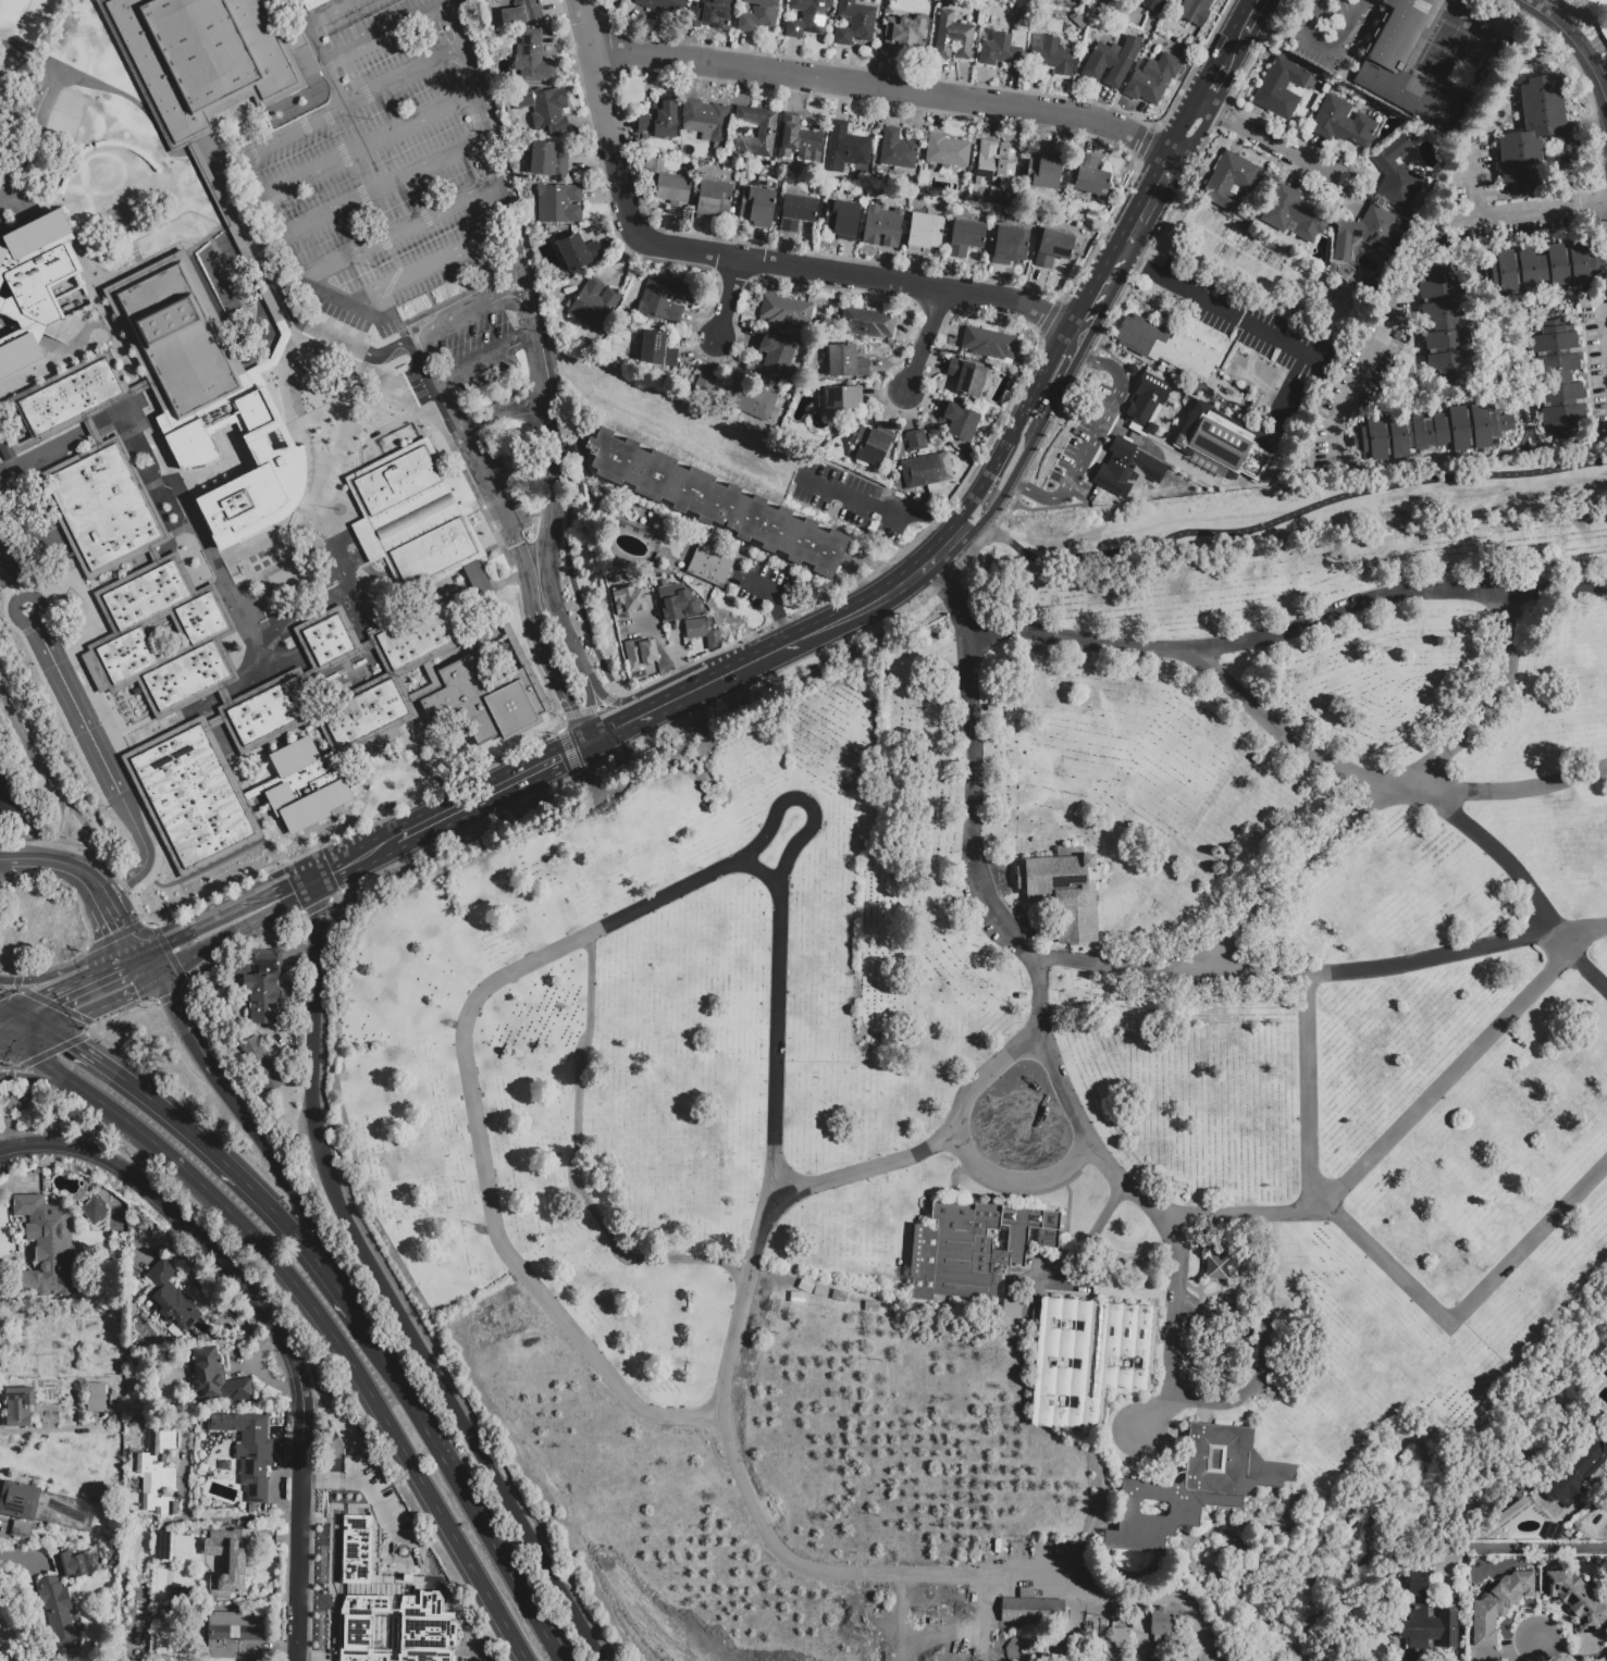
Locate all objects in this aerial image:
building: (308, 1)
building: (1152, 4)
building: (665, 7)
building: (1595, 7)
road: (299, 9)
building: (1196, 11)
building: (523, 12)
building: (713, 13)
building: (758, 14)
building: (806, 17)
road: (1247, 17)
road: (1548, 18)
building: (855, 21)
road: (306, 22)
road: (334, 33)
building: (1605, 34)
building: (904, 35)
building: (952, 37)
road: (370, 42)
road: (1327, 42)
building: (1003, 48)
building: (1052, 57)
building: (533, 58)
building: (201, 59)
building: (1110, 61)
building: (1384, 62)
road: (1219, 71)
road: (1594, 72)
road: (354, 76)
building: (1152, 78)
road: (98, 84)
building: (1281, 87)
road: (882, 89)
building: (549, 110)
building: (658, 121)
building: (705, 122)
building: (1342, 122)
road: (217, 126)
road: (244, 128)
building: (757, 132)
road: (1177, 133)
building: (1536, 136)
road: (32, 138)
building: (800, 139)
road: (1190, 140)
road: (1273, 145)
road: (270, 146)
road: (361, 146)
road: (487, 146)
building: (845, 148)
building: (898, 149)
building: (947, 150)
building: (547, 160)
building: (994, 164)
building: (1043, 171)
building: (1396, 174)
building: (1091, 176)
building: (1229, 181)
road: (199, 183)
building: (668, 186)
road: (376, 189)
road: (1482, 189)
building: (989, 195)
building: (713, 199)
building: (999, 199)
building: (559, 203)
building: (757, 206)
road: (1142, 210)
building: (796, 212)
building: (1293, 213)
building: (841, 218)
parking lot: (393, 220)
building: (882, 226)
building: (924, 232)
building: (1364, 233)
road: (395, 234)
building: (965, 237)
building: (1009, 245)
building: (1052, 248)
building: (578, 251)
building: (240, 252)
road: (744, 259)
road: (1108, 263)
building: (1543, 266)
road: (1416, 268)
road: (410, 273)
building: (33, 286)
road: (1109, 288)
road: (728, 298)
building: (664, 299)
road: (1083, 301)
road: (486, 303)
building: (593, 305)
building: (787, 312)
road: (1247, 320)
building: (1581, 321)
building: (1444, 323)
building: (868, 325)
building: (750, 334)
road: (1085, 334)
building: (178, 340)
road: (930, 342)
building: (1166, 343)
building: (991, 346)
building: (656, 348)
road: (362, 352)
road: (481, 354)
building: (775, 354)
building: (846, 362)
road: (1048, 365)
building: (1162, 367)
building: (1169, 371)
building: (1176, 375)
building: (966, 376)
building: (1559, 380)
building: (703, 386)
building: (139, 388)
building: (1385, 389)
building: (750, 399)
building: (841, 401)
road: (1049, 401)
building: (62, 402)
building: (1145, 404)
road: (499, 416)
building: (957, 420)
building: (222, 425)
building: (1430, 431)
building: (92, 432)
building: (916, 439)
road: (1086, 441)
building: (1221, 444)
building: (870, 446)
road: (39, 451)
building: (1306, 460)
road: (994, 464)
building: (1126, 468)
building: (926, 470)
building: (395, 478)
building: (255, 493)
road: (996, 495)
building: (899, 496)
road: (982, 497)
parking lot: (850, 498)
building: (715, 503)
building: (103, 508)
road: (879, 508)
road: (1290, 515)
building: (415, 517)
road: (980, 530)
road: (972, 535)
building: (154, 555)
building: (434, 556)
road: (931, 558)
building: (615, 560)
building: (712, 567)
road: (875, 570)
road: (1396, 594)
building: (630, 602)
building: (677, 604)
road: (776, 606)
road: (854, 611)
building: (703, 634)
building: (202, 636)
building: (419, 636)
building: (330, 641)
road: (667, 648)
road: (772, 649)
building: (640, 653)
road: (687, 692)
building: (224, 695)
building: (480, 699)
road: (607, 699)
road: (1486, 704)
road: (568, 705)
traffic signals: (569, 708)
road: (591, 709)
building: (270, 711)
road: (590, 711)
building: (369, 717)
building: (214, 722)
road: (85, 728)
road: (110, 729)
road: (610, 729)
traffic signals: (606, 732)
road: (567, 753)
traffic signals: (560, 756)
building: (301, 784)
road: (1517, 789)
building: (193, 796)
road: (473, 798)
road: (5, 801)
road: (804, 802)
road: (72, 811)
road: (359, 822)
road: (4, 859)
road: (66, 865)
road: (336, 867)
road: (719, 870)
road: (1294, 877)
building: (1065, 891)
road: (235, 908)
road: (1536, 909)
road: (115, 917)
road: (246, 926)
traffic signals: (121, 928)
road: (114, 935)
traffic signals: (166, 941)
road: (133, 943)
road: (163, 946)
road: (151, 949)
road: (133, 959)
road: (53, 966)
road: (149, 966)
road: (1587, 969)
road: (61, 970)
road: (1319, 971)
road: (166, 972)
road: (99, 976)
road: (180, 979)
building: (260, 983)
road: (13, 989)
traffic signals: (135, 991)
road: (170, 996)
road: (45, 999)
traffic signals: (48, 999)
traffic signals: (171, 1001)
road: (103, 1004)
road: (172, 1004)
road: (8, 1006)
road: (54, 1006)
road: (8, 1014)
road: (121, 1017)
road: (33, 1019)
road: (29, 1037)
road: (4, 1042)
traffic signals: (73, 1045)
road: (4, 1048)
road: (77, 1048)
road: (49, 1052)
road: (4, 1066)
building: (262, 1067)
road: (9, 1076)
road: (41, 1080)
road: (3, 1083)
road: (1306, 1091)
park: (1029, 1102)
road: (1071, 1161)
road: (570, 1164)
road: (274, 1166)
road: (238, 1177)
building: (96, 1212)
building: (48, 1248)
building: (972, 1249)
road: (217, 1257)
building: (1216, 1267)
building: (794, 1278)
road: (383, 1290)
building: (823, 1291)
building: (802, 1297)
building: (171, 1298)
building: (840, 1298)
building: (1013, 1305)
road: (740, 1306)
road: (1177, 1307)
road: (1468, 1309)
road: (314, 1311)
building: (201, 1339)
building: (1090, 1360)
building: (1606, 1373)
building: (215, 1379)
building: (96, 1398)
building: (114, 1401)
building: (18, 1406)
road: (48, 1429)
building: (1604, 1446)
building: (249, 1450)
building: (157, 1474)
building: (1574, 1478)
road: (458, 1483)
building: (1195, 1487)
crop: (801, 1490)
building: (46, 1507)
road: (219, 1519)
building: (20, 1529)
building: (1553, 1532)
building: (161, 1546)
road: (1540, 1547)
building: (355, 1548)
road: (22, 1557)
building: (224, 1561)
building: (71, 1565)
road: (297, 1575)
building: (1028, 1591)
road: (1128, 1599)
building: (1577, 1601)
building: (1499, 1604)
building: (1034, 1611)
building: (61, 1613)
building: (1425, 1620)
building: (1162, 1626)
building: (395, 1629)
building: (235, 1635)
building: (1120, 1638)
building: (140, 1639)
building: (164, 1643)
building: (1024, 1650)
road: (1566, 1657)

